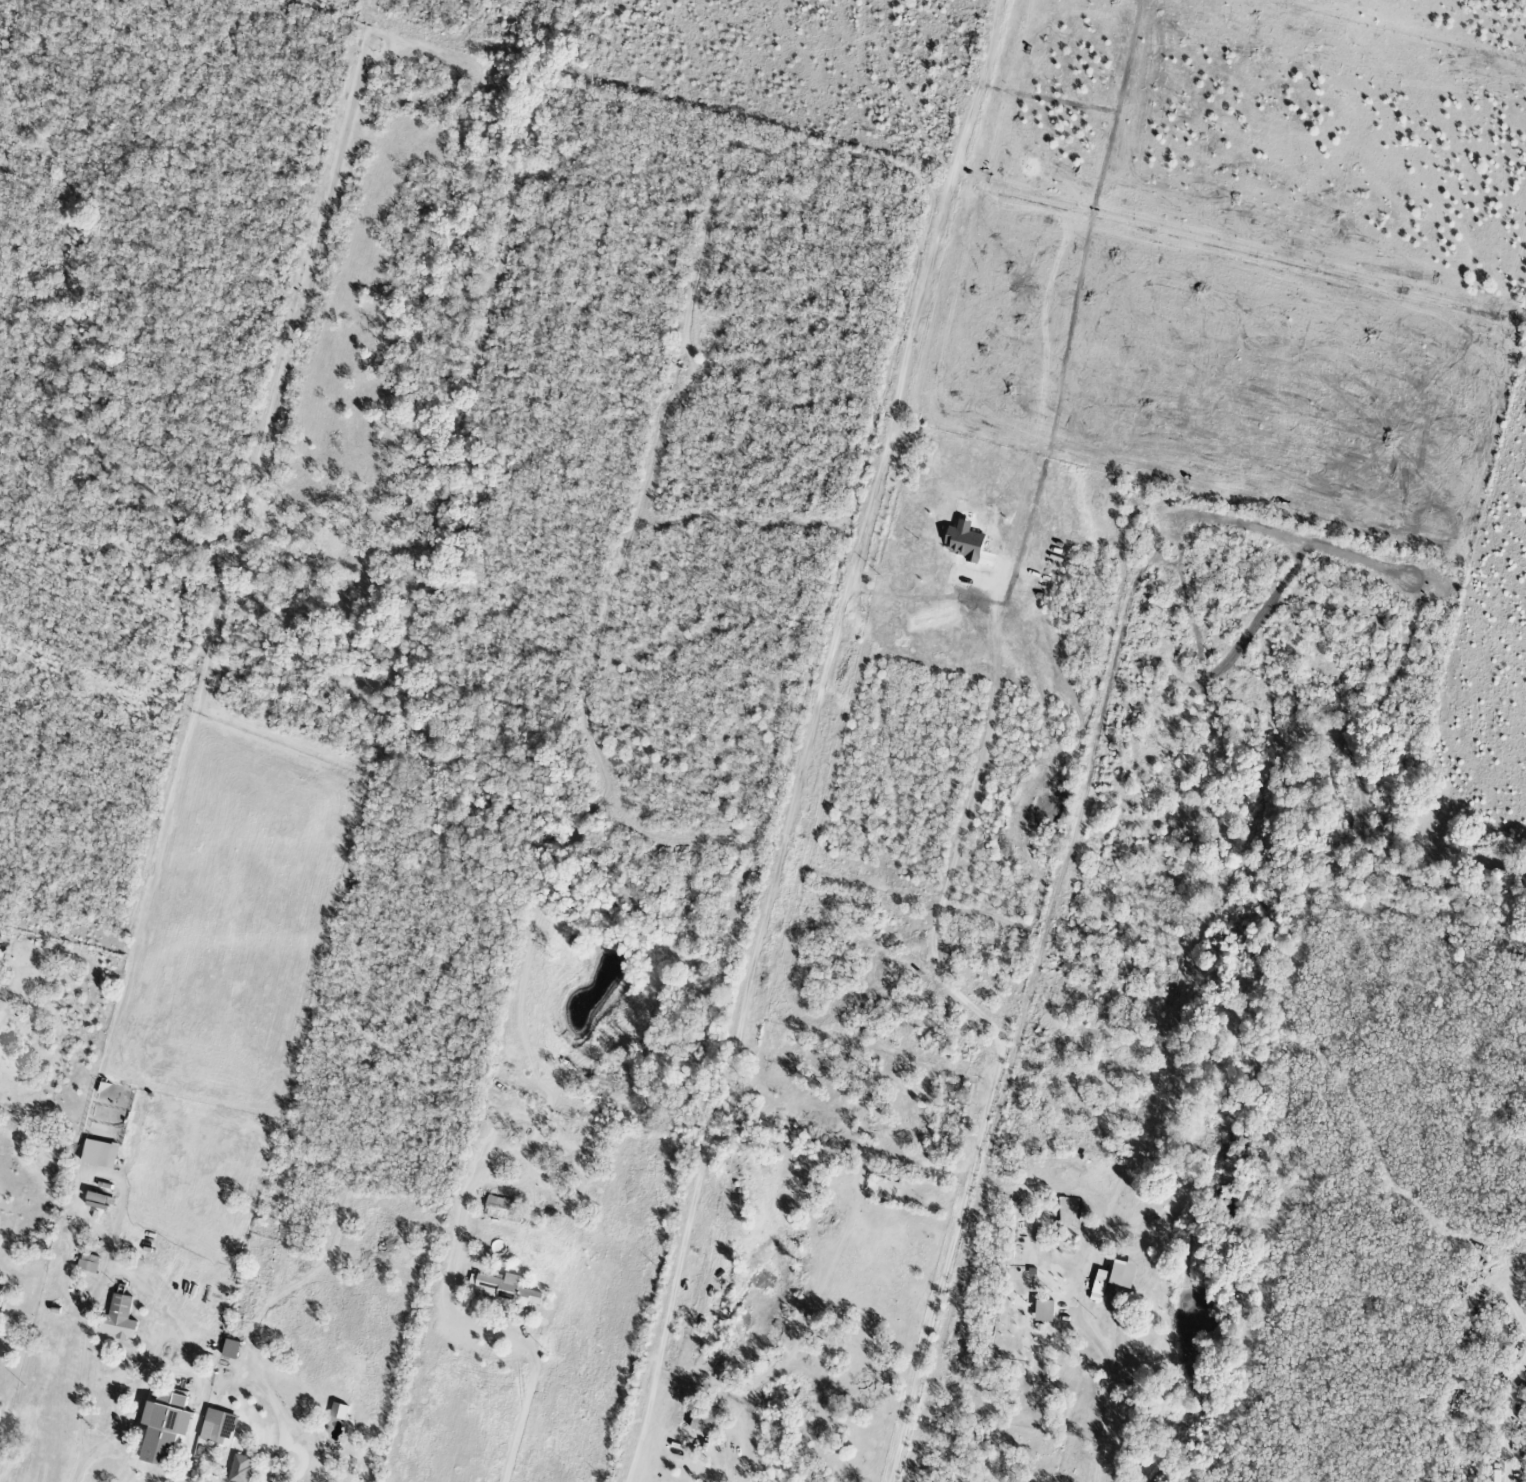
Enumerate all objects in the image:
building: (966, 542)
road: (807, 740)
road: (995, 1033)
road: (539, 1121)
building: (101, 1154)
building: (504, 1209)
building: (89, 1262)
building: (503, 1289)
road: (85, 1318)
building: (120, 1318)
road: (485, 1328)
building: (1463, 1348)
building: (232, 1349)
road: (157, 1358)
road: (1111, 1394)
road: (272, 1407)
road: (1508, 1407)
building: (707, 1419)
building: (166, 1427)
building: (219, 1427)
building: (241, 1469)

